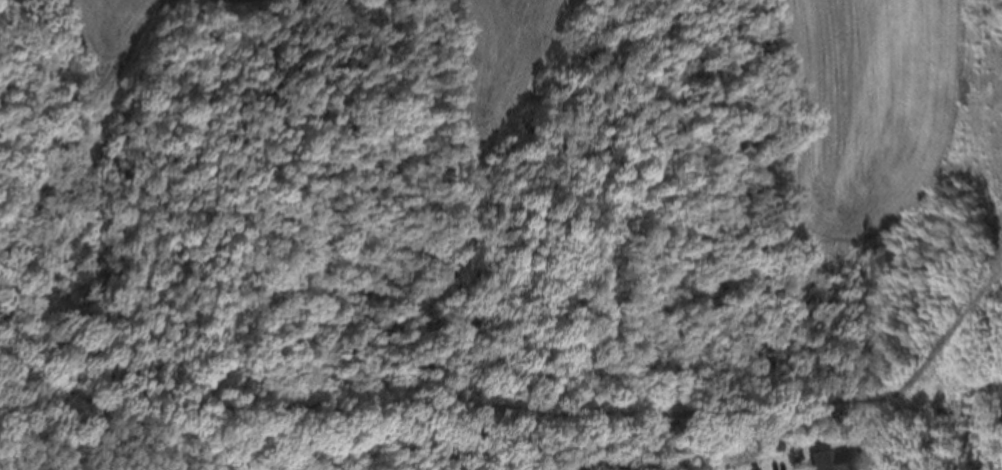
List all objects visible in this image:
building: (835, 460)

